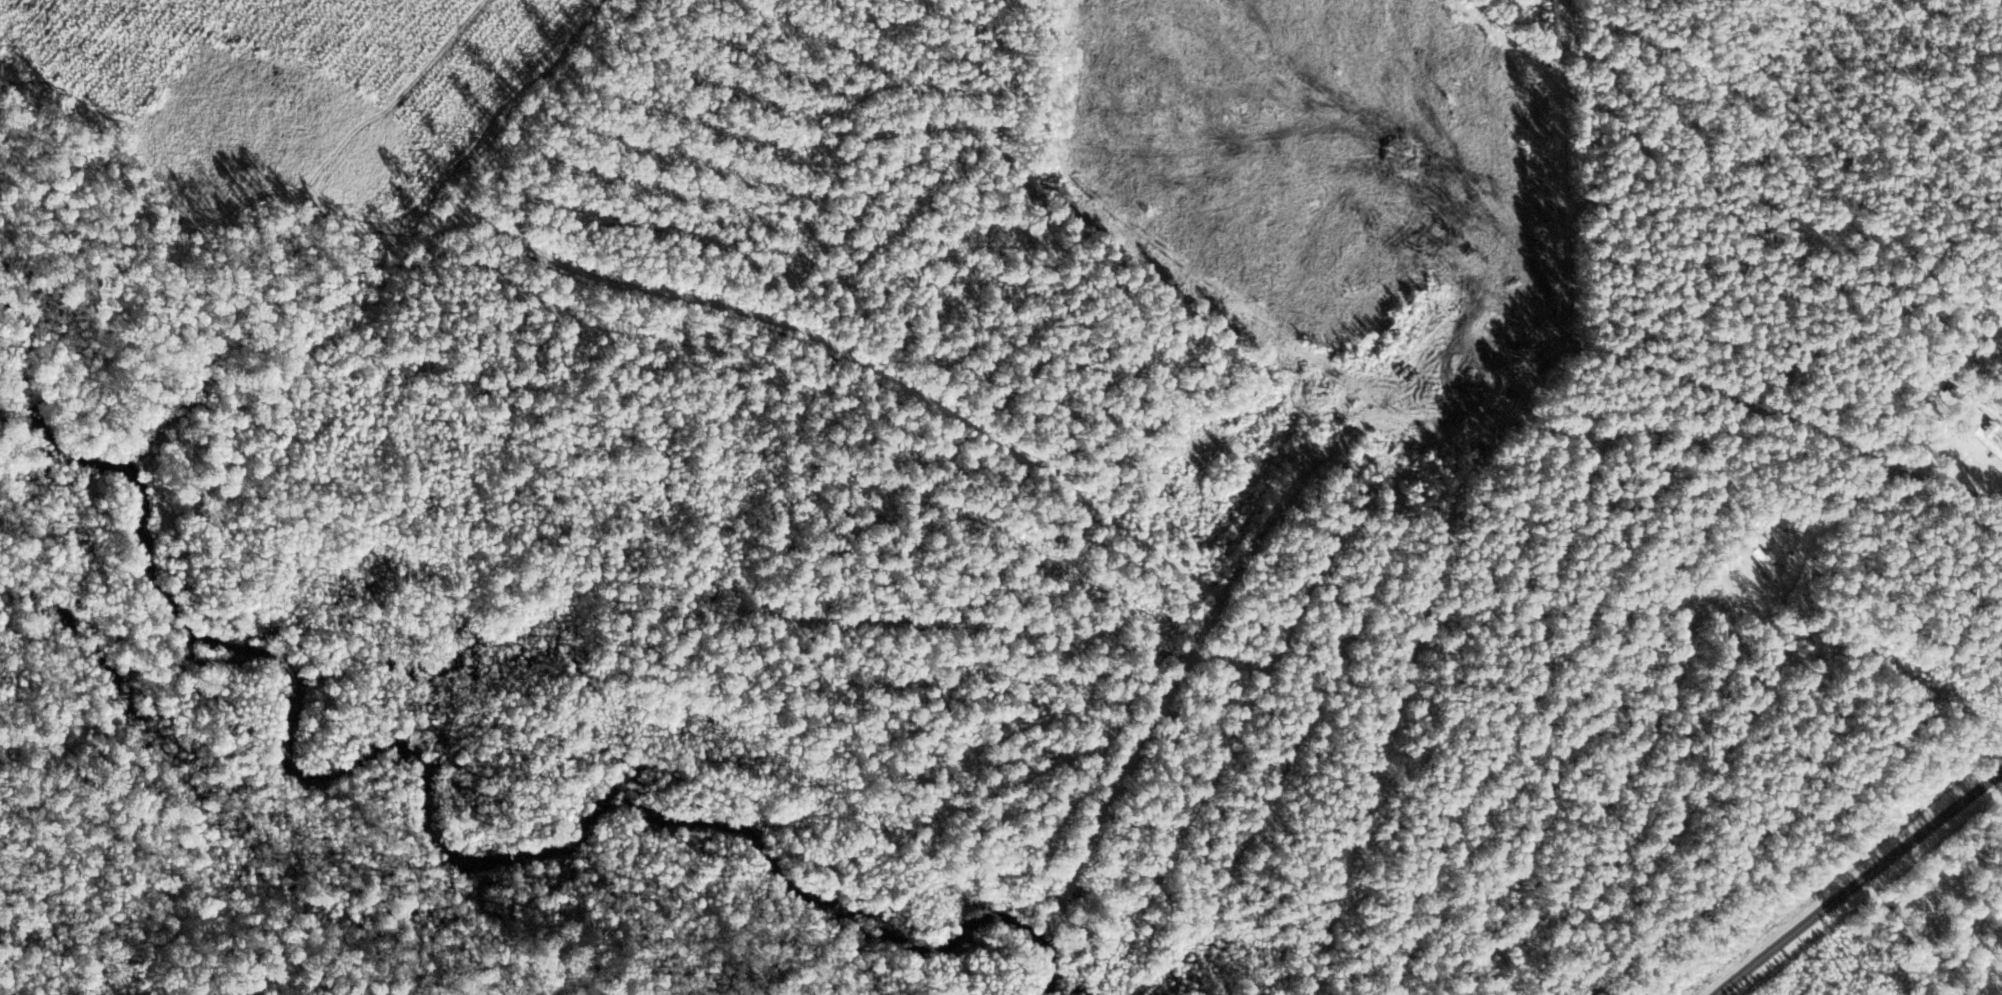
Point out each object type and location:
building: (1988, 440)
road: (1860, 884)

